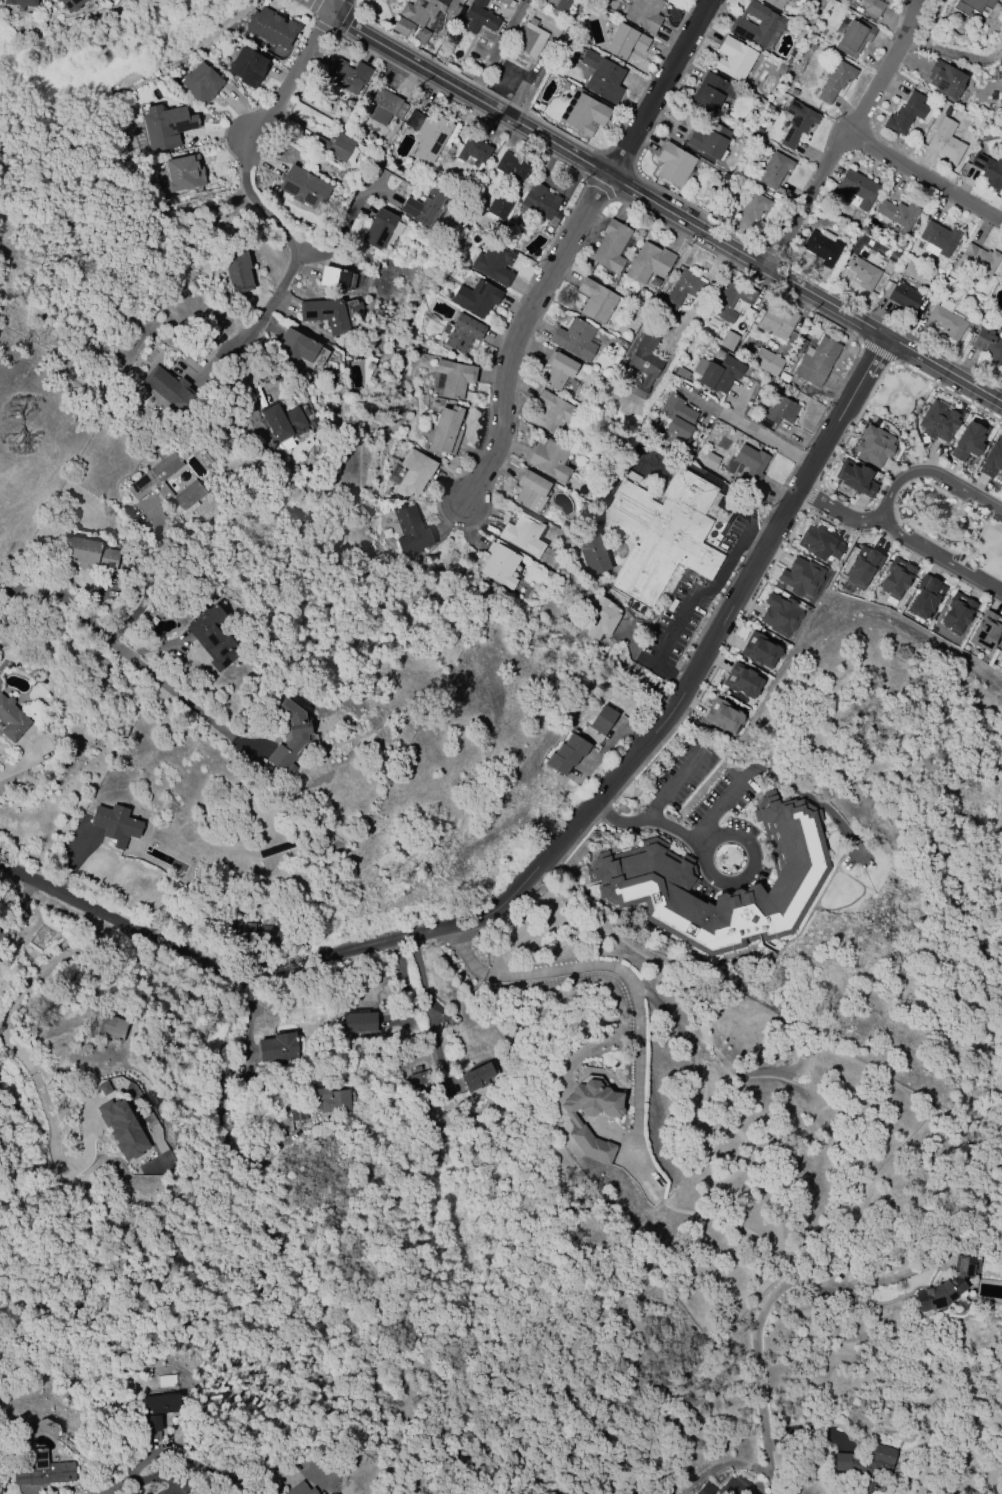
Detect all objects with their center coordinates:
building: (406, 0)
building: (18, 2)
building: (549, 2)
building: (506, 3)
building: (775, 3)
building: (70, 4)
road: (316, 6)
road: (331, 6)
building: (870, 6)
building: (969, 6)
building: (559, 8)
building: (421, 10)
building: (454, 11)
building: (643, 14)
building: (478, 17)
road: (929, 22)
building: (757, 25)
building: (401, 26)
building: (271, 27)
building: (420, 36)
building: (853, 37)
building: (529, 39)
building: (625, 42)
road: (913, 44)
road: (963, 57)
building: (734, 58)
road: (547, 60)
road: (891, 66)
building: (246, 67)
building: (780, 70)
building: (347, 76)
building: (601, 77)
building: (944, 80)
building: (835, 81)
building: (200, 83)
road: (660, 87)
building: (707, 94)
building: (385, 107)
building: (905, 114)
building: (585, 115)
building: (796, 124)
building: (166, 127)
building: (427, 134)
building: (709, 141)
building: (334, 146)
building: (945, 146)
building: (473, 150)
building: (673, 165)
building: (511, 167)
building: (989, 170)
building: (773, 171)
road: (926, 172)
building: (183, 173)
building: (304, 188)
building: (856, 189)
road: (810, 197)
building: (539, 201)
road: (258, 204)
building: (425, 205)
building: (499, 205)
road: (665, 207)
building: (751, 210)
building: (898, 214)
road: (345, 225)
building: (380, 229)
building: (938, 238)
building: (610, 246)
building: (821, 248)
building: (892, 256)
building: (976, 261)
building: (648, 263)
building: (492, 264)
building: (236, 269)
building: (863, 273)
building: (333, 278)
building: (1001, 281)
building: (684, 287)
building: (903, 297)
building: (475, 298)
building: (595, 301)
building: (730, 301)
building: (324, 314)
building: (776, 321)
building: (946, 322)
building: (462, 333)
road: (519, 335)
building: (574, 339)
building: (727, 341)
building: (987, 345)
building: (798, 346)
building: (293, 347)
building: (766, 362)
building: (816, 362)
building: (643, 365)
building: (557, 371)
building: (717, 373)
building: (454, 378)
building: (168, 388)
building: (781, 411)
building: (553, 414)
building: (282, 421)
building: (938, 421)
building: (676, 423)
building: (444, 431)
road: (766, 437)
building: (969, 440)
building: (873, 446)
building: (992, 459)
building: (549, 460)
building: (710, 461)
building: (747, 462)
building: (411, 475)
building: (631, 476)
building: (855, 478)
building: (163, 485)
building: (530, 492)
road: (836, 513)
road: (881, 513)
building: (410, 530)
building: (662, 533)
building: (522, 535)
road: (755, 539)
building: (819, 545)
building: (89, 554)
building: (592, 554)
building: (499, 565)
building: (862, 567)
building: (800, 577)
building: (895, 579)
road: (147, 583)
building: (925, 597)
road: (689, 607)
building: (956, 613)
building: (779, 615)
building: (601, 619)
building: (986, 631)
building: (211, 636)
building: (759, 650)
road: (114, 658)
building: (1000, 659)
building: (3, 666)
building: (742, 681)
building: (722, 717)
building: (11, 720)
building: (603, 720)
building: (289, 737)
building: (566, 754)
road: (14, 769)
road: (677, 785)
road: (719, 810)
building: (115, 824)
road: (622, 827)
road: (679, 834)
road: (555, 850)
road: (753, 864)
building: (641, 874)
road: (15, 907)
building: (268, 934)
road: (612, 966)
road: (424, 997)
building: (357, 1022)
building: (105, 1028)
building: (276, 1047)
road: (18, 1056)
building: (477, 1076)
building: (420, 1081)
building: (103, 1088)
building: (329, 1101)
building: (573, 1121)
building: (121, 1129)
building: (948, 1284)
road: (754, 1333)
building: (157, 1410)
building: (867, 1464)
building: (42, 1470)
road: (208, 1471)
road: (163, 1479)
building: (726, 1486)
road: (112, 1487)
building: (300, 1489)

